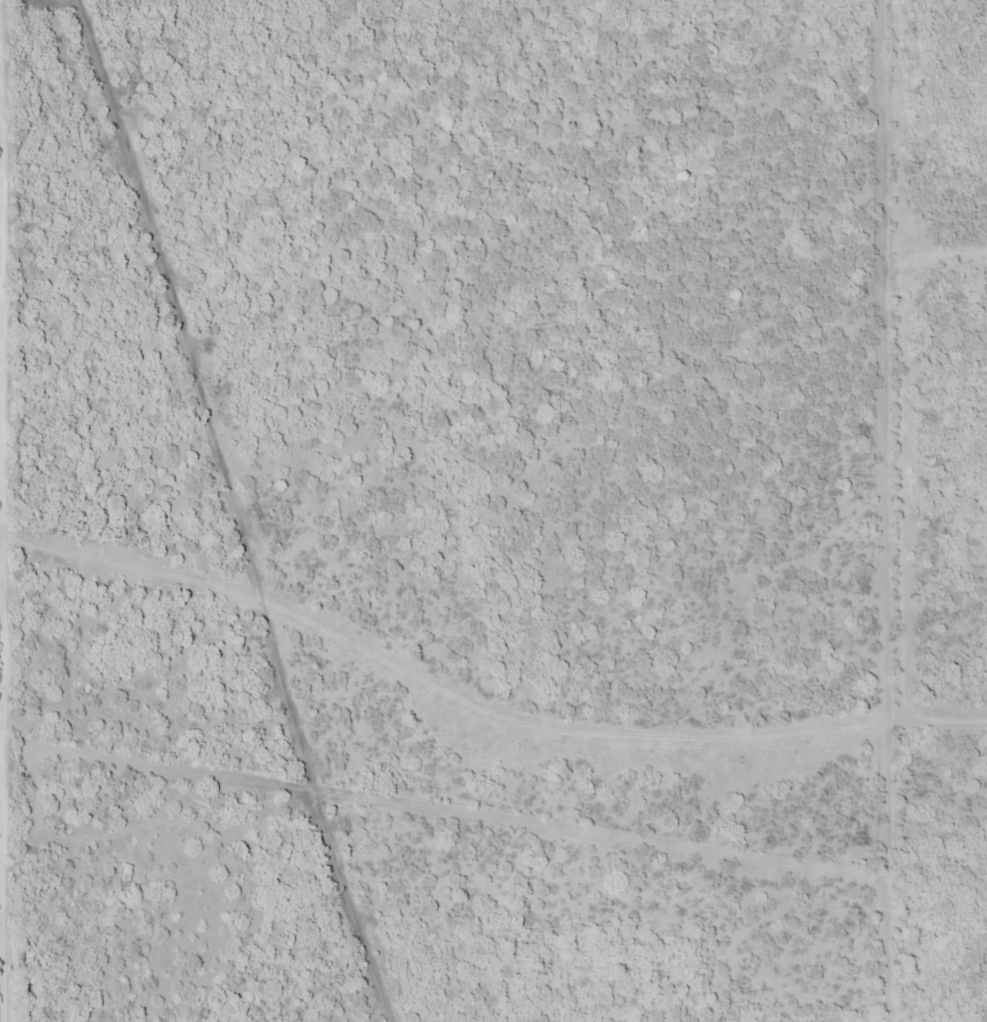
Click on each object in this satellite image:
road: (4, 807)

